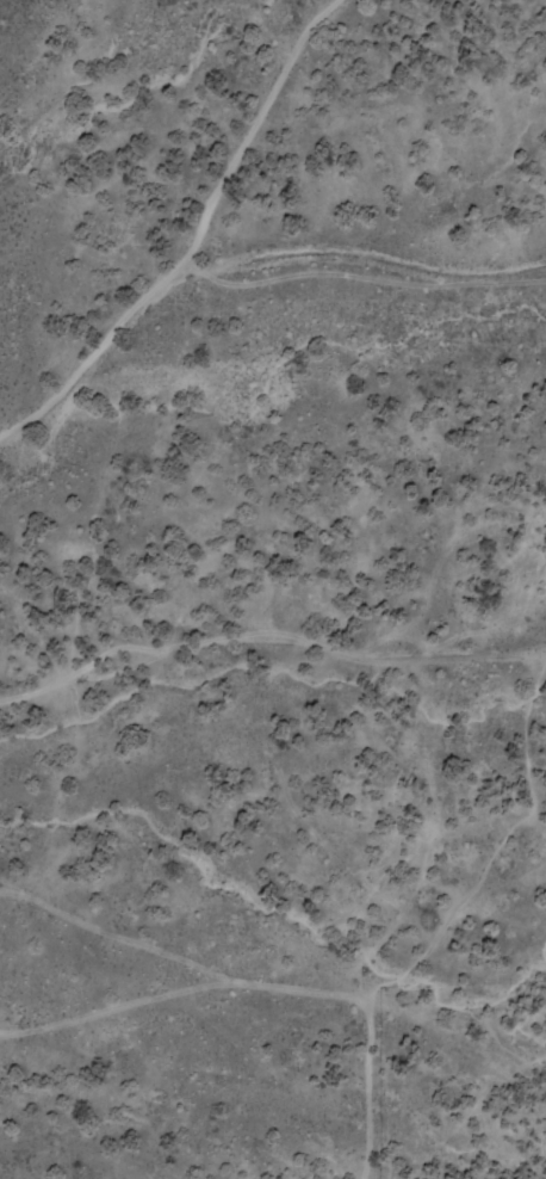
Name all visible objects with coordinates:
road: (196, 241)

